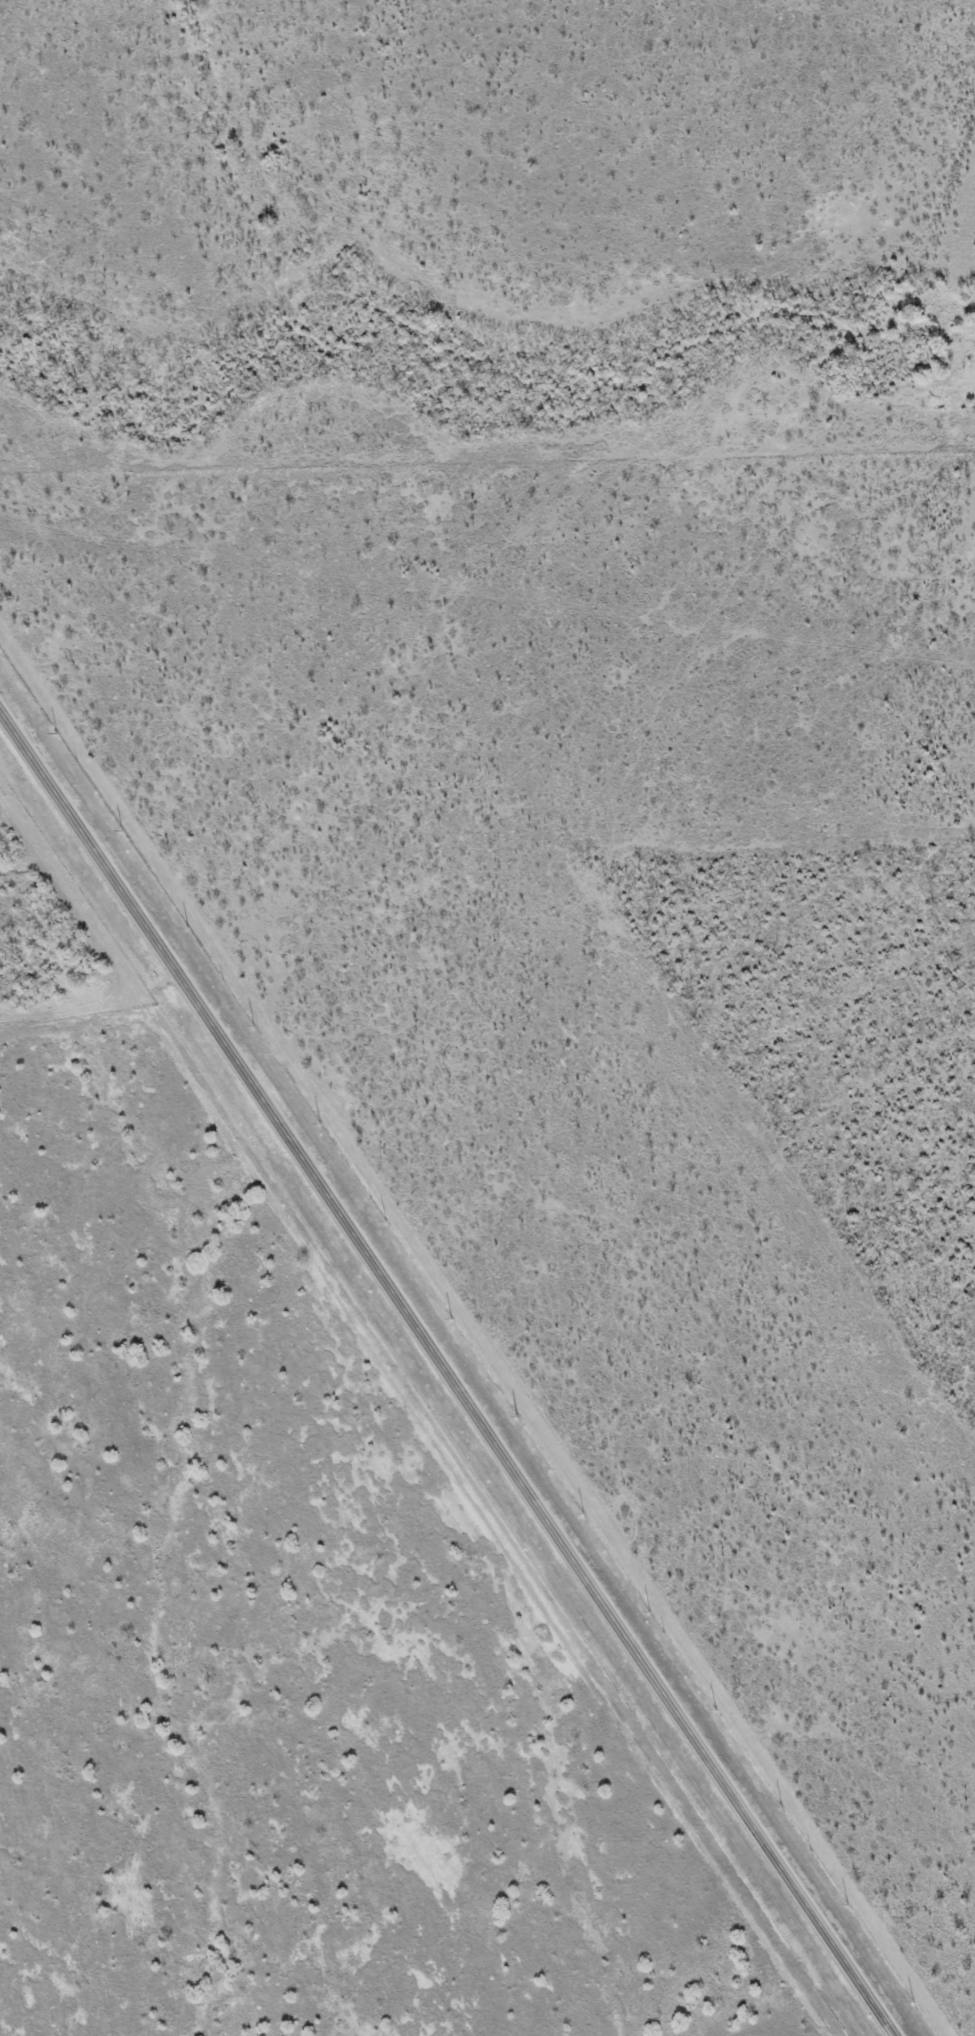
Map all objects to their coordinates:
road: (448, 1372)

